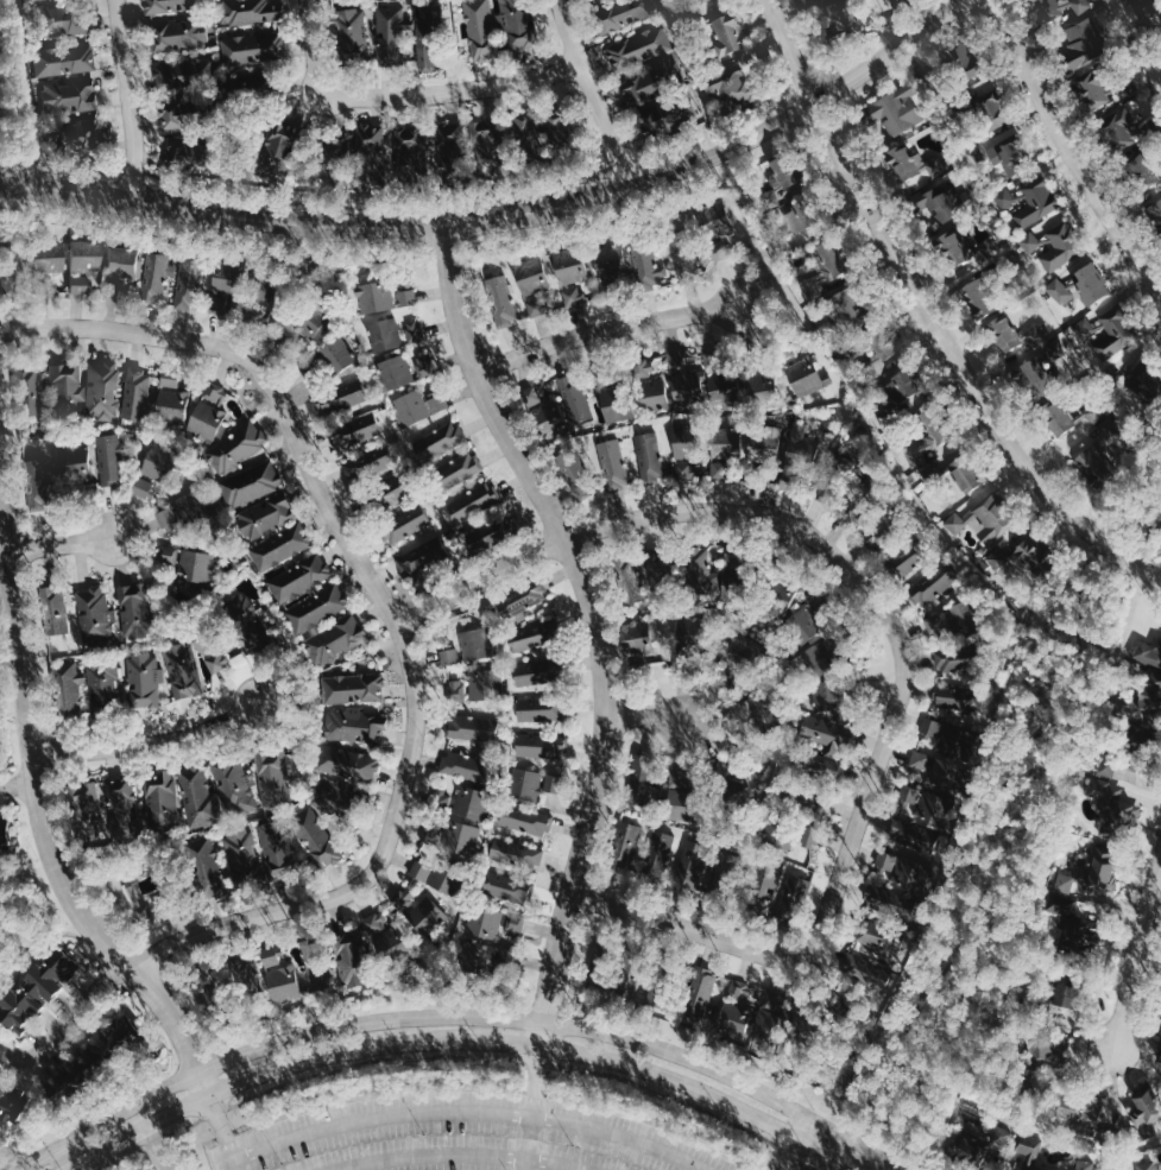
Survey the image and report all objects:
building: (1081, 5)
building: (166, 6)
building: (1050, 8)
building: (253, 12)
building: (621, 14)
building: (434, 15)
building: (838, 18)
building: (59, 20)
building: (516, 24)
building: (480, 30)
building: (351, 32)
building: (392, 32)
building: (181, 34)
building: (726, 36)
building: (1084, 44)
building: (255, 48)
building: (637, 49)
road: (789, 52)
building: (425, 55)
parking lot: (1, 58)
building: (63, 59)
building: (963, 59)
building: (193, 69)
building: (731, 86)
building: (641, 88)
building: (1092, 90)
road: (588, 91)
road: (400, 94)
building: (67, 95)
road: (128, 96)
building: (989, 102)
building: (896, 109)
building: (171, 116)
building: (660, 118)
building: (557, 127)
building: (1124, 129)
building: (525, 131)
building: (80, 138)
building: (277, 145)
building: (336, 145)
building: (487, 146)
building: (412, 147)
road: (1071, 147)
building: (452, 150)
building: (187, 152)
building: (371, 152)
building: (1002, 154)
building: (904, 163)
building: (1142, 171)
building: (777, 183)
building: (1010, 201)
road: (299, 202)
building: (1036, 203)
building: (930, 205)
building: (1156, 210)
road: (506, 211)
building: (799, 216)
building: (714, 220)
building: (960, 246)
building: (1053, 246)
building: (45, 258)
building: (608, 259)
building: (121, 261)
building: (569, 266)
building: (646, 268)
building: (826, 268)
building: (531, 276)
building: (157, 277)
building: (1090, 282)
building: (188, 283)
building: (78, 284)
building: (221, 285)
building: (1059, 290)
building: (261, 293)
building: (573, 295)
building: (374, 296)
building: (408, 297)
building: (974, 298)
building: (501, 302)
building: (846, 309)
building: (314, 323)
building: (1084, 328)
building: (415, 331)
building: (386, 334)
building: (1015, 334)
building: (1115, 335)
road: (605, 336)
building: (339, 356)
building: (679, 360)
road: (958, 366)
building: (642, 367)
building: (397, 371)
building: (1040, 373)
building: (806, 377)
building: (170, 380)
building: (759, 382)
building: (900, 386)
building: (688, 387)
building: (67, 391)
building: (102, 391)
building: (721, 391)
building: (29, 393)
building: (135, 394)
building: (530, 396)
building: (650, 396)
building: (341, 397)
building: (574, 397)
building: (172, 404)
building: (419, 406)
building: (210, 410)
building: (617, 411)
building: (1054, 417)
building: (547, 420)
building: (356, 431)
building: (438, 441)
building: (800, 442)
building: (724, 443)
building: (236, 447)
building: (761, 448)
building: (656, 449)
building: (925, 449)
building: (1098, 457)
building: (111, 458)
building: (160, 460)
building: (74, 464)
building: (613, 464)
building: (839, 464)
building: (568, 466)
building: (456, 470)
building: (687, 472)
building: (718, 472)
building: (963, 473)
building: (37, 482)
building: (252, 483)
building: (144, 488)
road: (327, 489)
building: (389, 493)
building: (474, 501)
building: (177, 513)
building: (265, 516)
building: (993, 519)
building: (954, 523)
building: (405, 524)
building: (488, 535)
building: (873, 536)
road: (62, 540)
building: (280, 546)
road: (824, 549)
building: (1029, 554)
building: (169, 555)
building: (422, 559)
building: (904, 561)
building: (505, 564)
building: (196, 565)
building: (706, 576)
building: (301, 578)
building: (629, 580)
building: (934, 584)
building: (780, 595)
building: (523, 600)
building: (318, 608)
building: (53, 609)
building: (133, 611)
building: (94, 616)
building: (951, 621)
road: (598, 624)
building: (248, 625)
building: (803, 626)
building: (680, 630)
building: (530, 637)
building: (335, 641)
building: (475, 644)
building: (1147, 651)
building: (449, 657)
building: (816, 659)
building: (952, 659)
building: (216, 660)
building: (183, 670)
building: (534, 672)
building: (144, 679)
building: (487, 684)
building: (103, 685)
building: (68, 687)
building: (353, 688)
building: (456, 690)
building: (1149, 694)
building: (829, 696)
building: (955, 700)
building: (537, 708)
road: (646, 716)
building: (354, 726)
building: (471, 727)
building: (824, 732)
building: (946, 734)
road: (145, 741)
building: (541, 745)
building: (921, 759)
building: (347, 764)
building: (818, 764)
building: (463, 766)
building: (1108, 767)
building: (945, 772)
road: (15, 776)
building: (272, 776)
building: (642, 782)
building: (525, 784)
building: (217, 792)
building: (328, 795)
building: (679, 795)
building: (441, 798)
building: (163, 801)
building: (472, 805)
building: (86, 807)
building: (125, 808)
building: (1112, 808)
building: (925, 809)
road: (42, 818)
road: (992, 818)
building: (525, 820)
building: (913, 833)
building: (433, 834)
building: (1, 835)
building: (778, 836)
building: (461, 837)
building: (808, 837)
building: (316, 839)
building: (625, 847)
building: (279, 849)
building: (658, 853)
building: (516, 854)
building: (245, 858)
building: (888, 860)
building: (207, 866)
building: (419, 871)
building: (909, 877)
building: (1089, 877)
building: (688, 878)
building: (442, 881)
building: (763, 886)
building: (505, 887)
building: (796, 892)
building: (402, 900)
building: (428, 915)
road: (248, 921)
building: (376, 922)
building: (485, 922)
building: (515, 924)
building: (1071, 924)
road: (688, 931)
building: (383, 941)
road: (1135, 951)
building: (889, 953)
building: (478, 957)
building: (349, 960)
building: (245, 976)
building: (286, 985)
building: (36, 987)
building: (739, 989)
building: (698, 993)
building: (1160, 995)
building: (1064, 999)
road: (848, 1008)
road: (448, 1016)
building: (731, 1020)
road: (67, 1022)
building: (777, 1024)
road: (472, 1041)
building: (97, 1046)
building: (1047, 1052)
building: (1159, 1057)
building: (65, 1081)
building: (11, 1105)
road: (532, 1109)
building: (1143, 1109)
road: (467, 1111)
building: (1081, 1114)
road: (222, 1131)
parking lot: (461, 1137)
road: (794, 1143)
building: (976, 1145)
road: (156, 1149)
building: (1028, 1151)
road: (459, 1153)
building: (1083, 1164)
building: (1144, 1166)
road: (883, 1168)
road: (72, 1169)
parking lot: (194, 1169)

